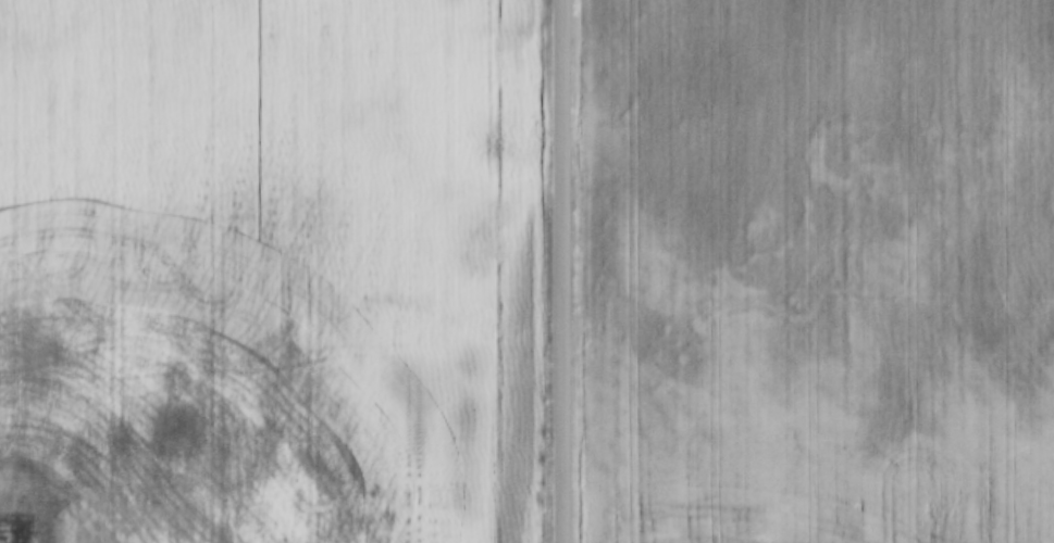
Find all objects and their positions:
road: (565, 270)

